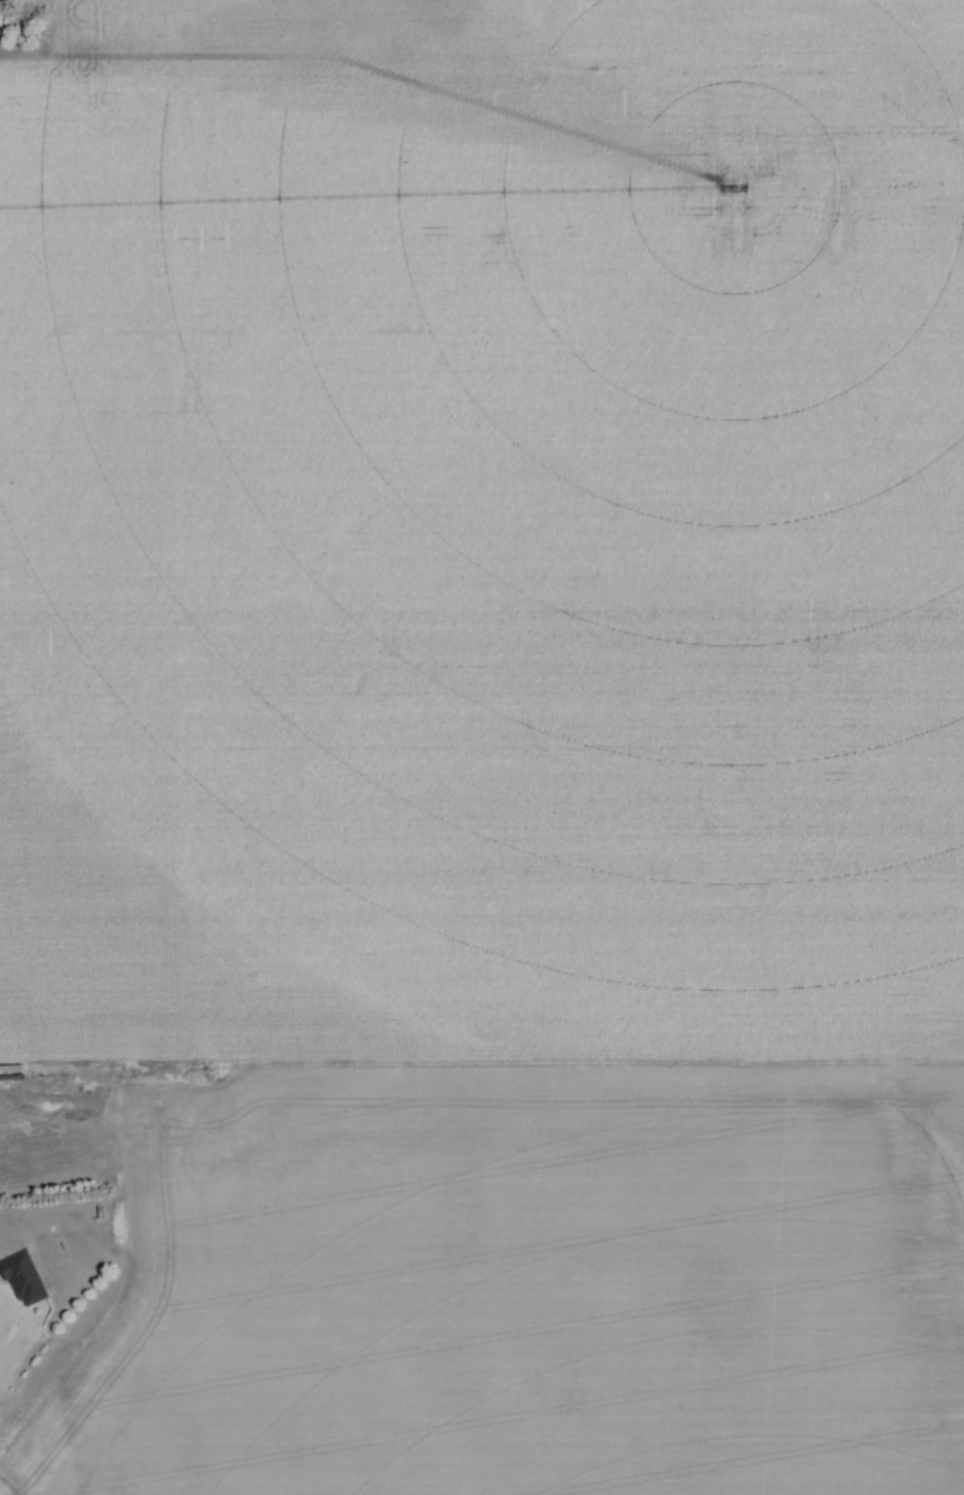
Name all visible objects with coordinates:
railway: (482, 32)
building: (21, 1280)

